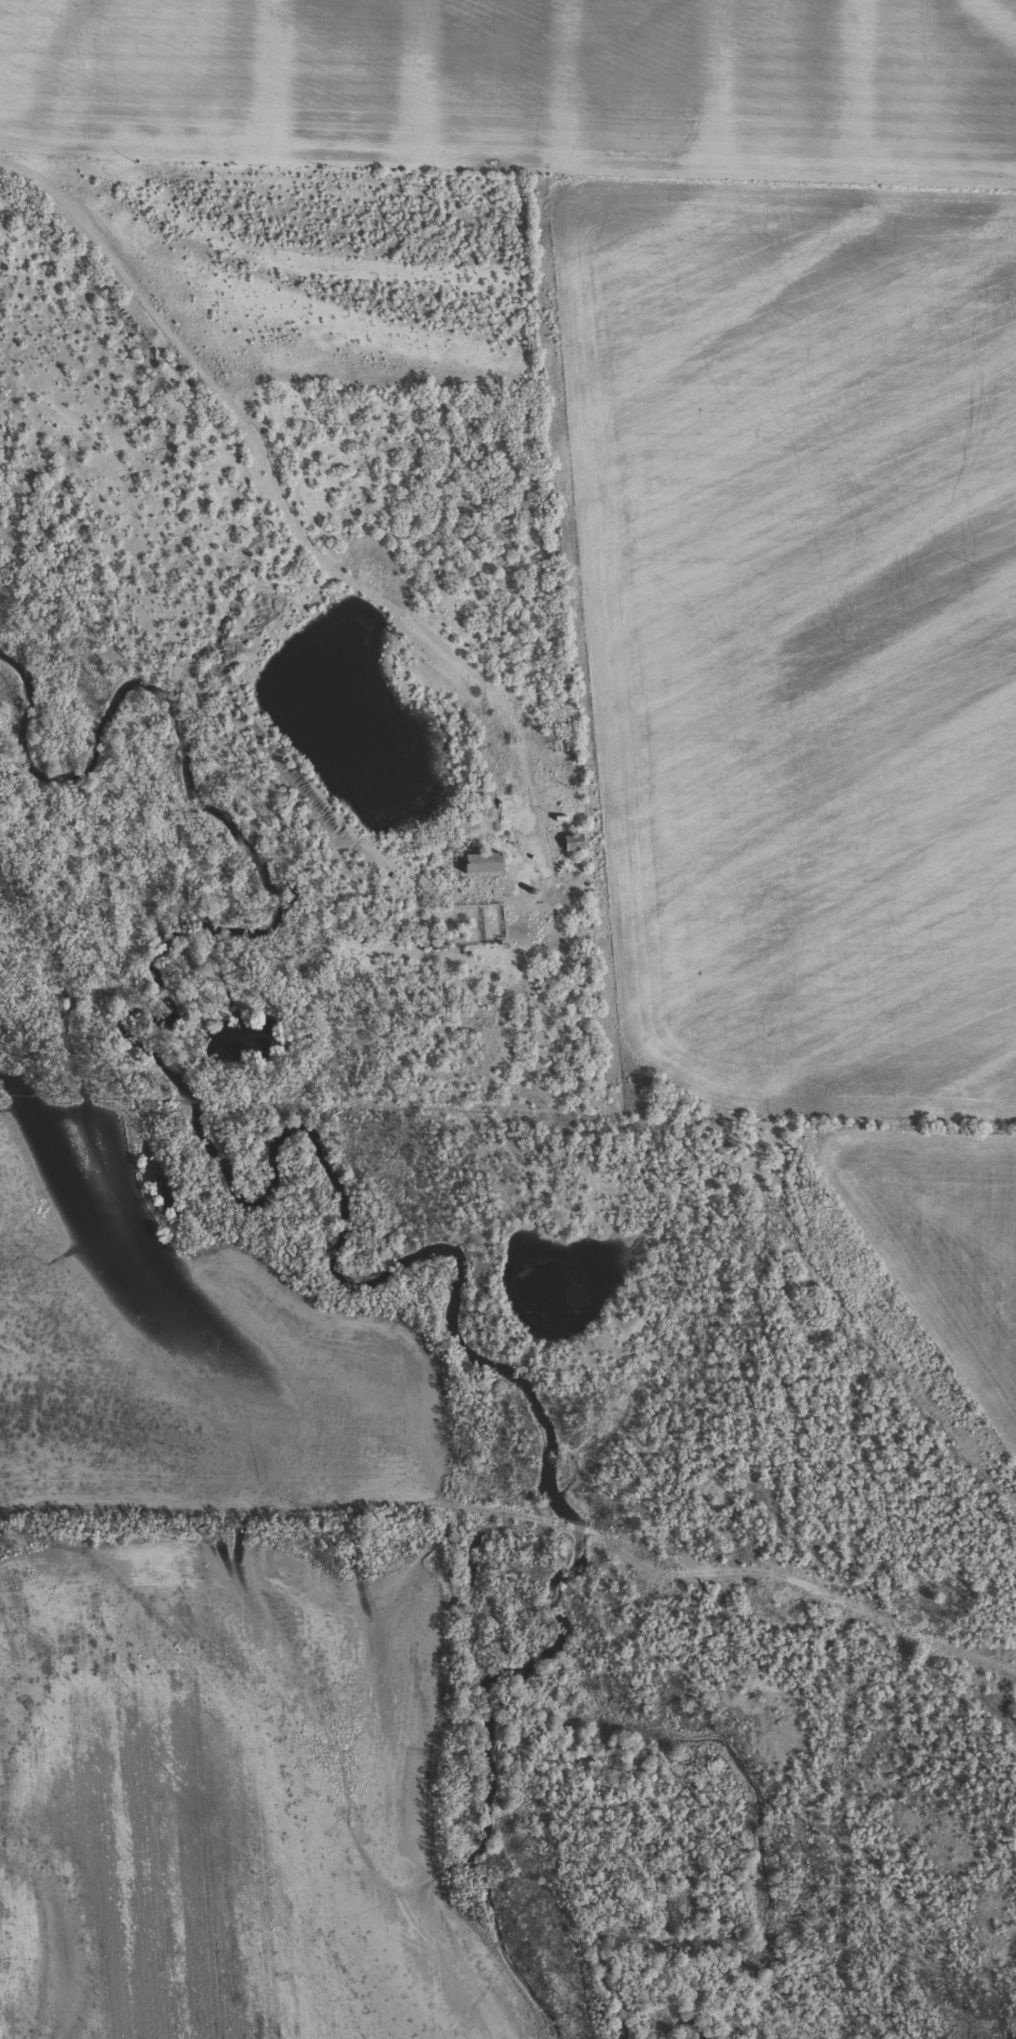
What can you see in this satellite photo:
building: (477, 863)

